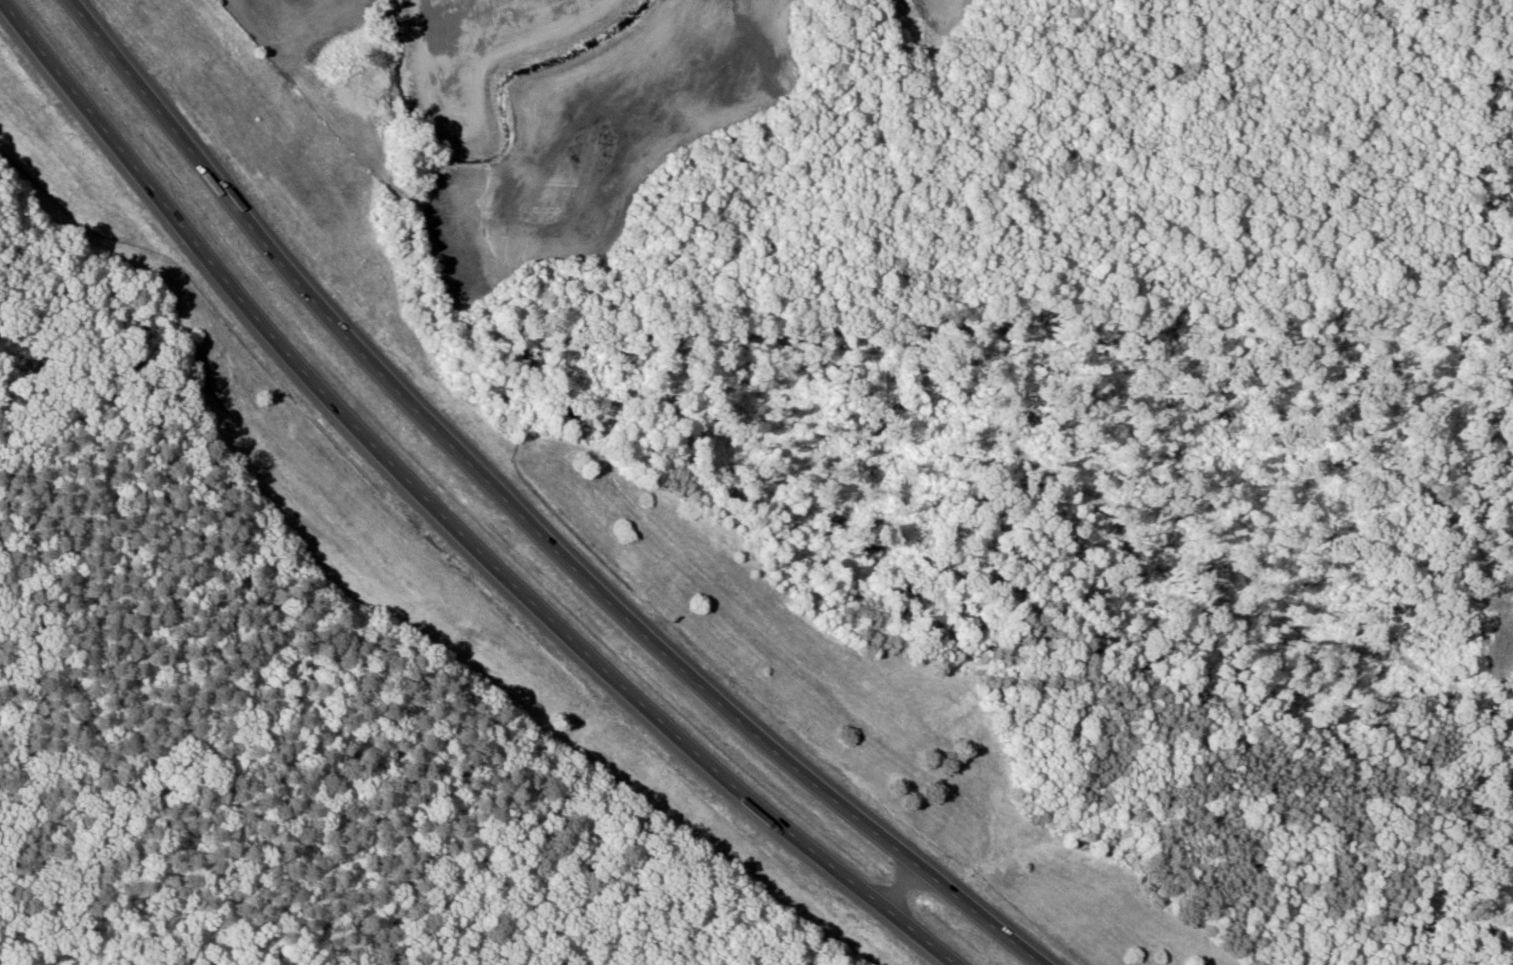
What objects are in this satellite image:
road: (449, 515)
road: (518, 519)

